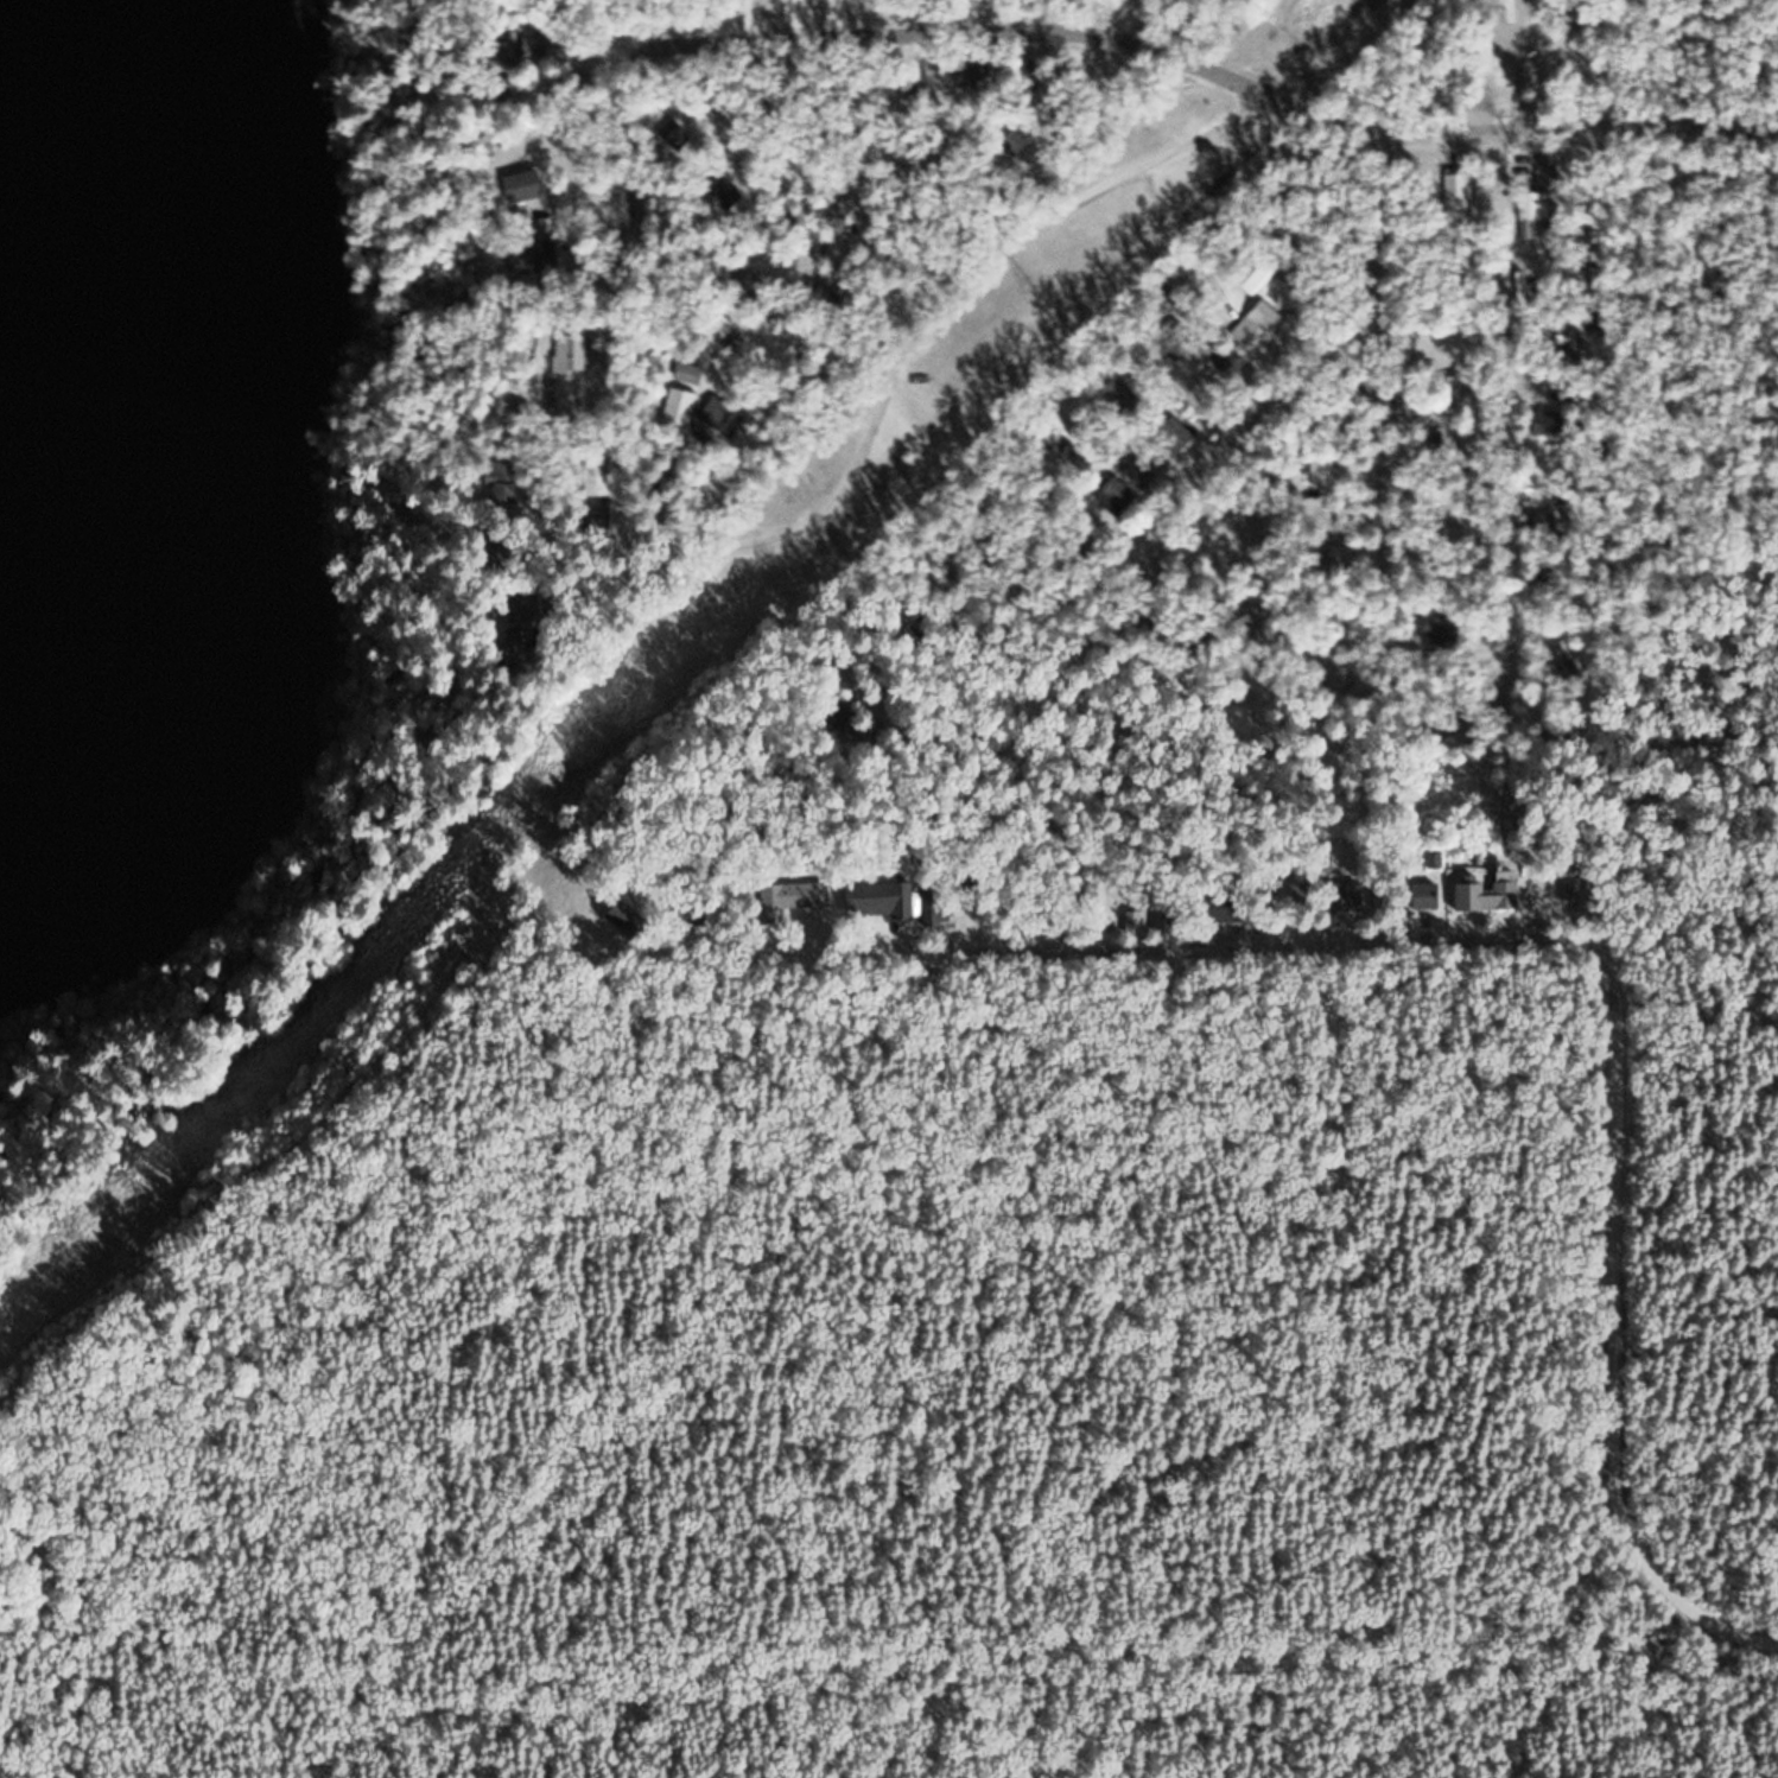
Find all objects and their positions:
road: (1075, 30)
building: (525, 44)
building: (497, 55)
building: (1010, 65)
building: (965, 75)
building: (499, 95)
road: (620, 121)
road: (1636, 132)
building: (1010, 140)
building: (977, 172)
building: (1536, 174)
road: (923, 183)
building: (513, 185)
building: (718, 190)
building: (1450, 191)
building: (1525, 209)
road: (1002, 236)
building: (519, 259)
building: (1246, 272)
power tower: (1021, 288)
building: (713, 320)
building: (1250, 326)
building: (1422, 343)
building: (1224, 363)
road: (1313, 368)
building: (684, 377)
building: (1443, 387)
building: (1110, 390)
building: (675, 405)
building: (1398, 406)
road: (1498, 427)
building: (1462, 445)
building: (1134, 471)
building: (1316, 471)
building: (593, 476)
building: (491, 482)
building: (1463, 483)
building: (1112, 493)
road: (1072, 508)
road: (1548, 571)
building: (1536, 572)
power tower: (680, 634)
building: (1556, 665)
road: (939, 743)
power tower: (513, 806)
building: (799, 894)
building: (1293, 894)
building: (1420, 894)
building: (1479, 894)
building: (1336, 895)
building: (1380, 895)
building: (872, 897)
building: (932, 904)
building: (1219, 907)
building: (1155, 915)
building: (1123, 916)
building: (616, 919)
road: (1683, 926)
road: (1522, 936)
power tower: (135, 1189)
road: (843, 1485)
road: (404, 1650)

